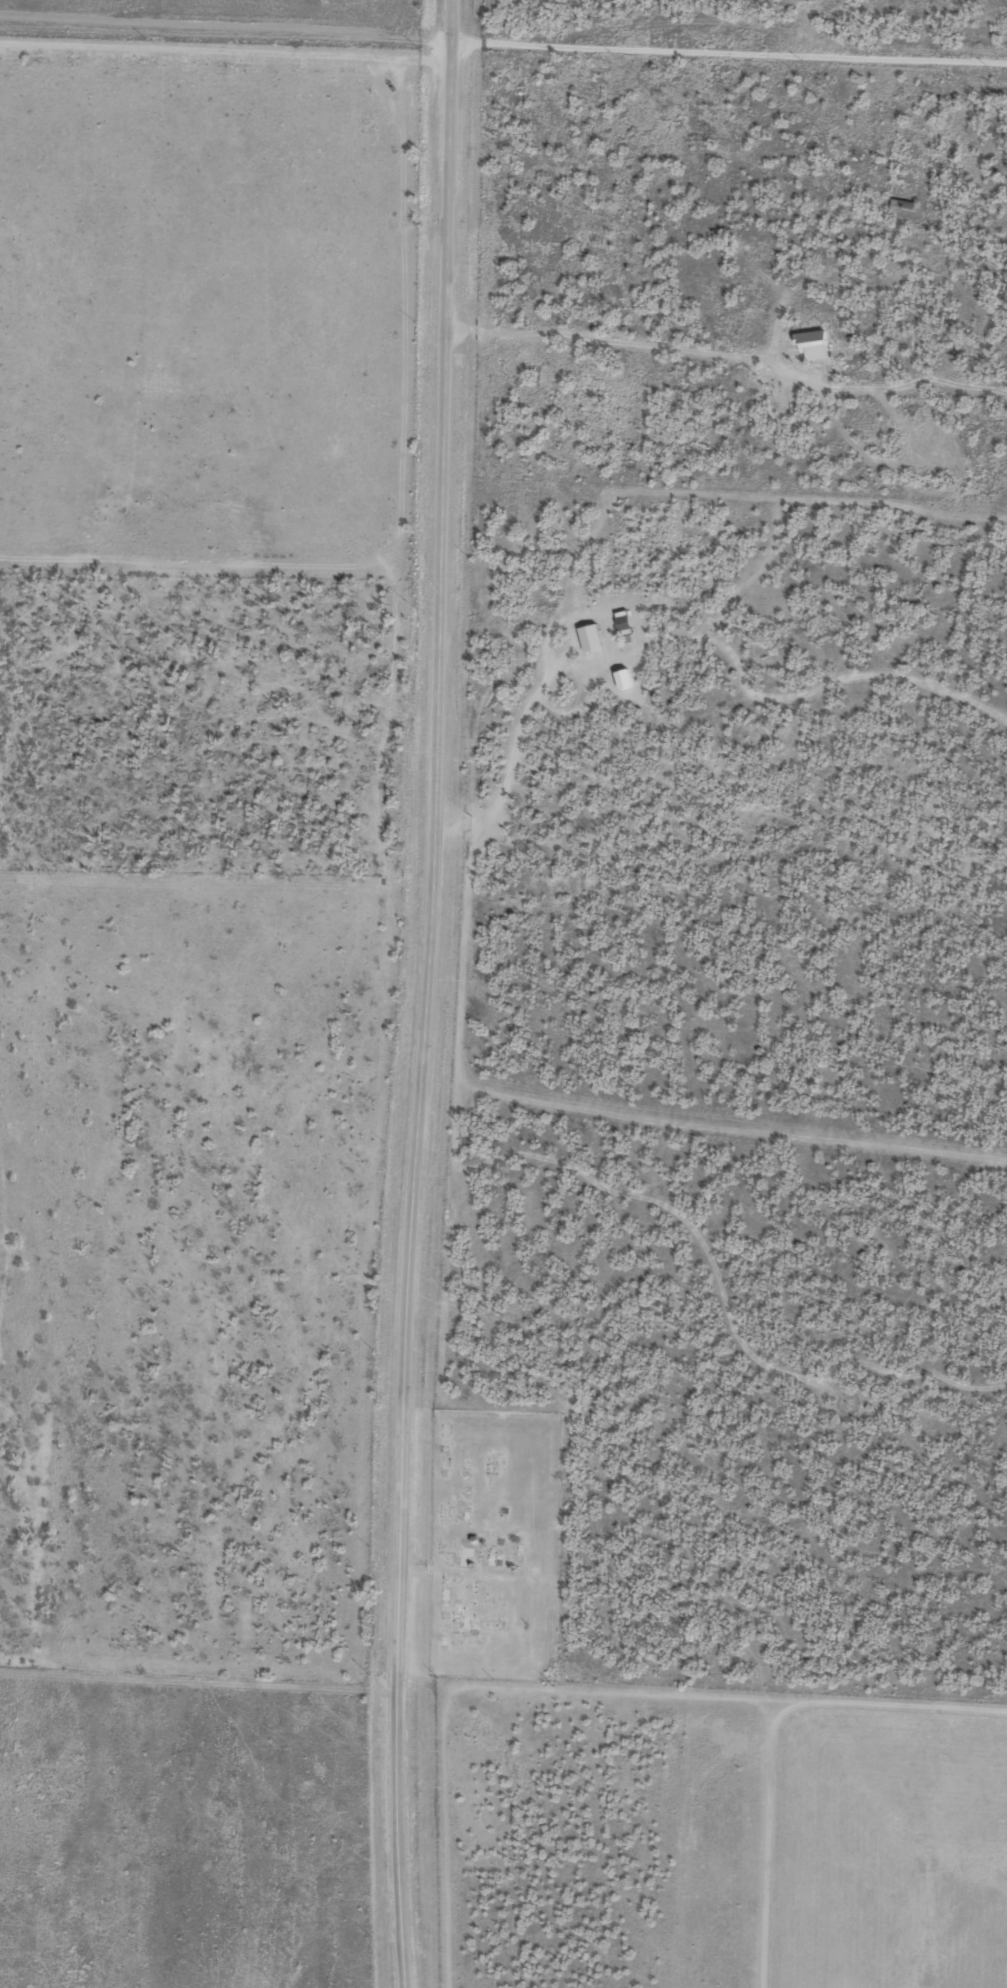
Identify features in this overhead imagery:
road: (226, 46)
building: (812, 345)
road: (727, 387)
building: (591, 637)
road: (429, 994)
park: (494, 1542)
road: (199, 1698)

